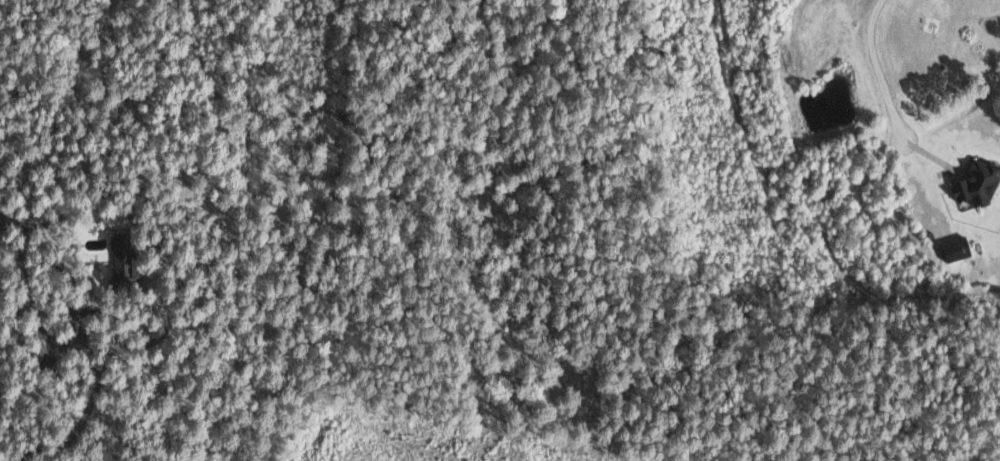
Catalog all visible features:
building: (978, 185)
building: (955, 249)
building: (121, 258)

